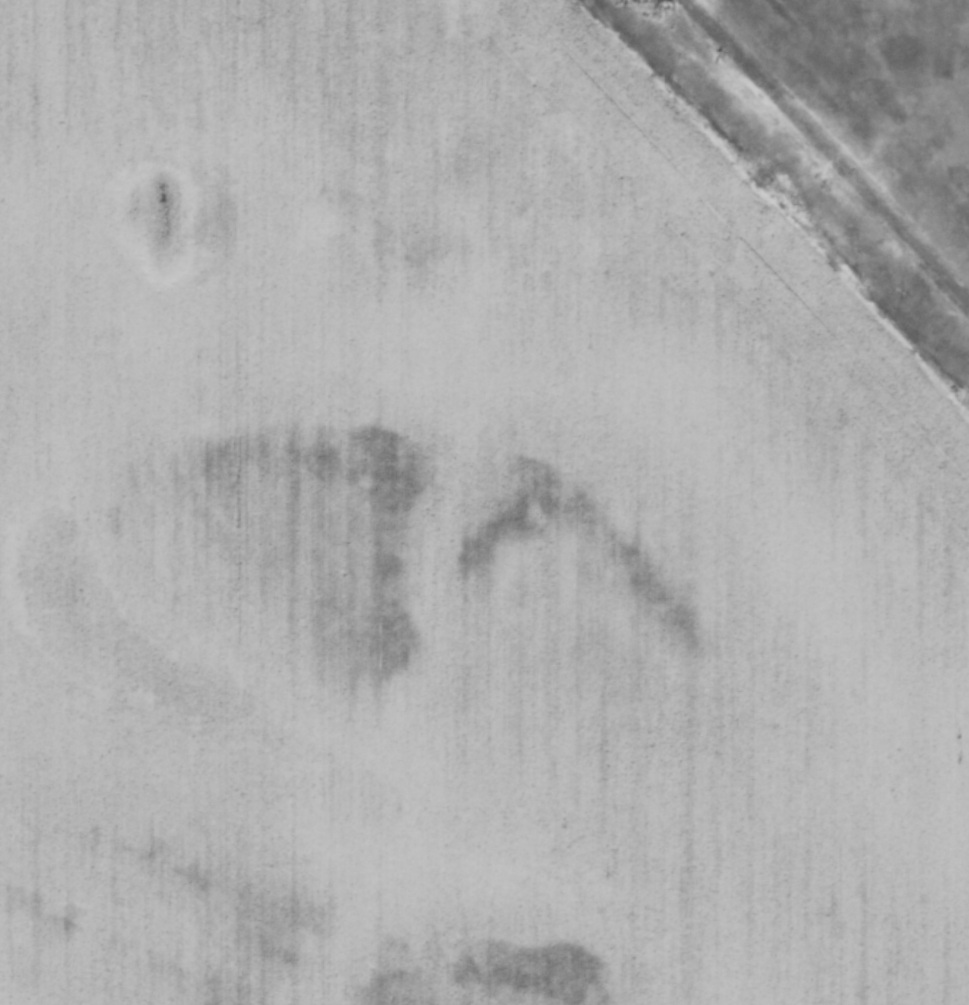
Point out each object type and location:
crop: (450, 537)

